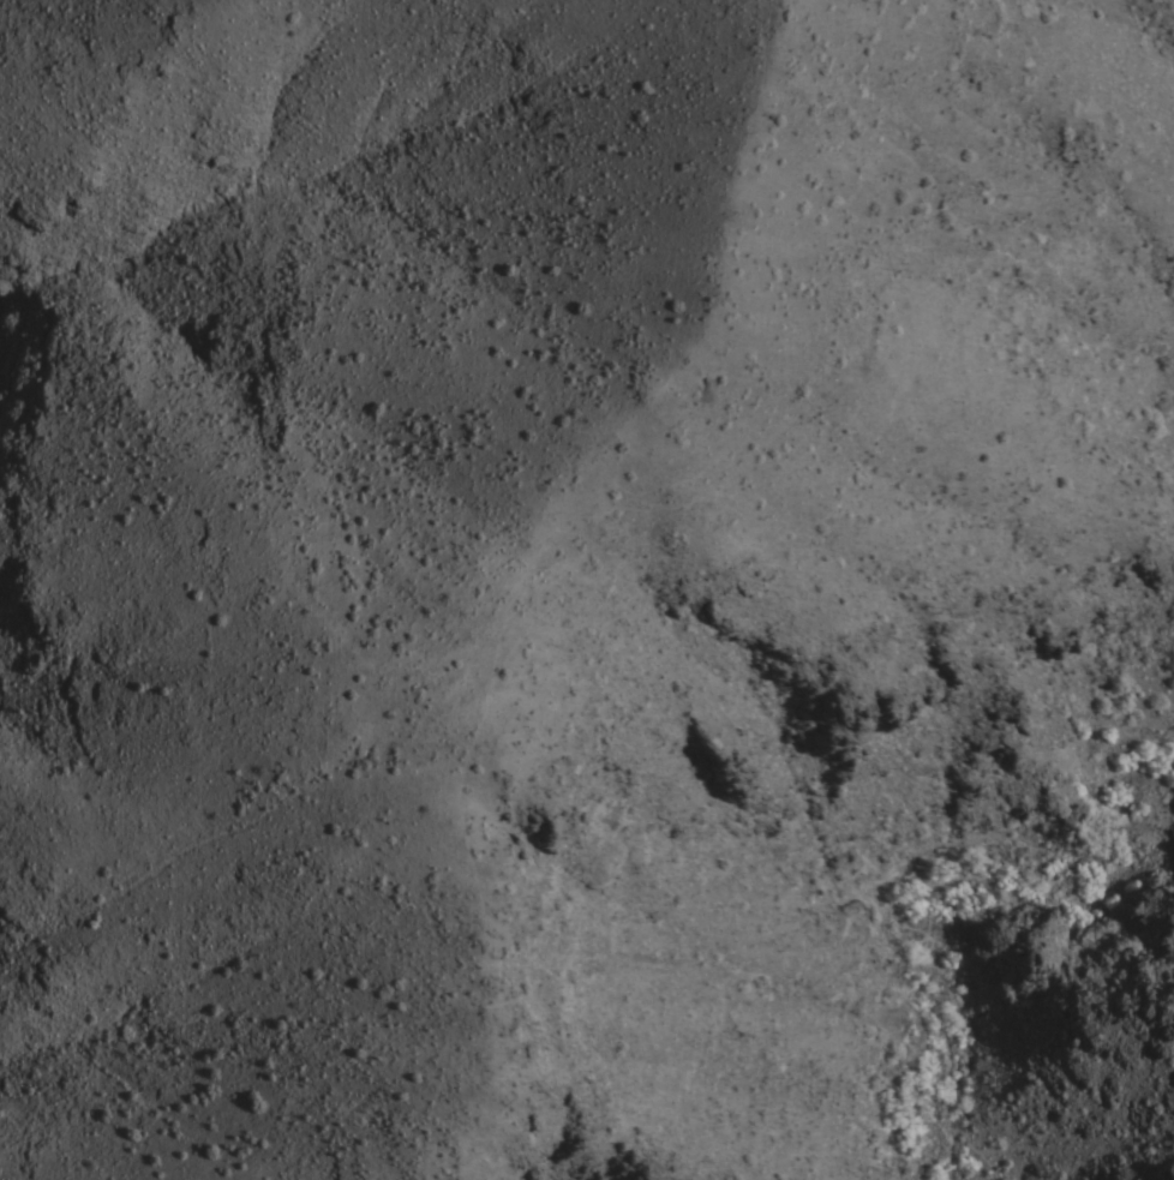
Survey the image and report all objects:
road: (926, 891)

